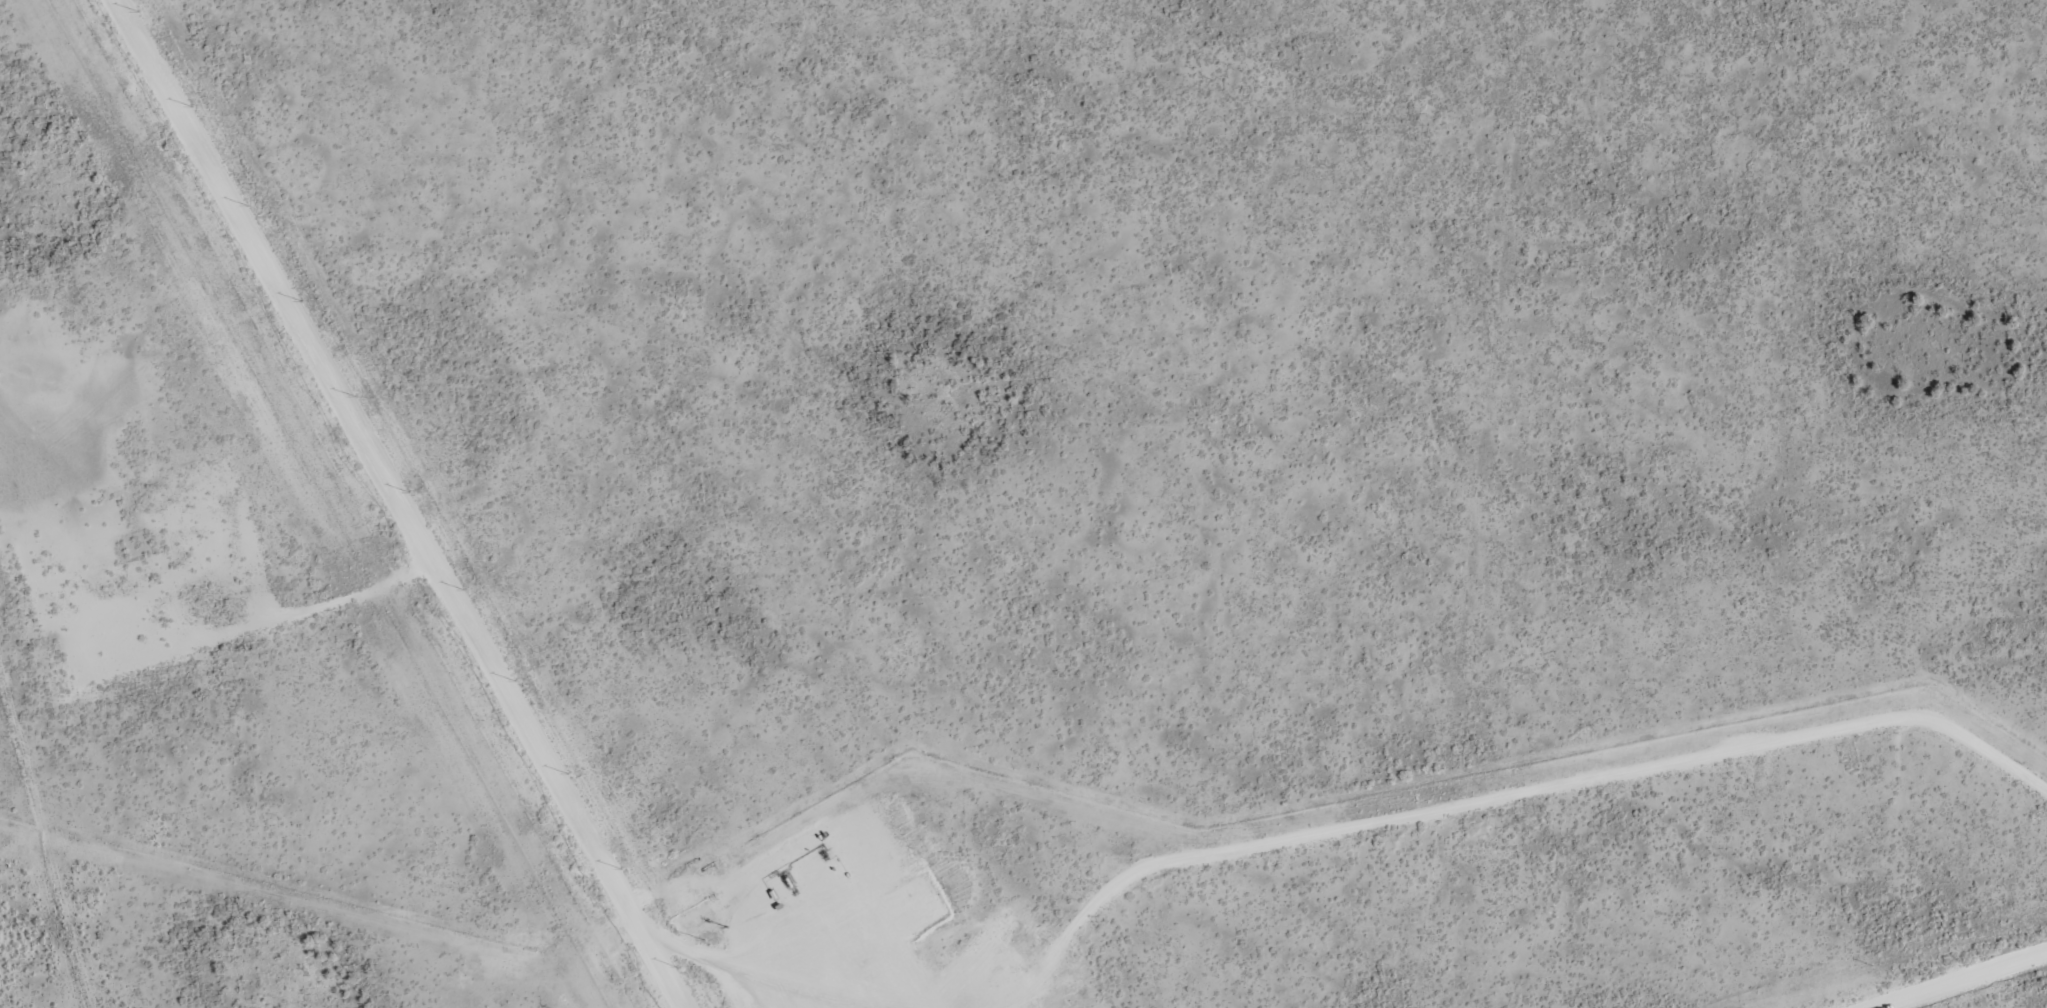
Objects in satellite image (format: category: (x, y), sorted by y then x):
road: (354, 415)
road: (563, 784)
road: (1507, 793)
road: (695, 952)
road: (2035, 1004)

